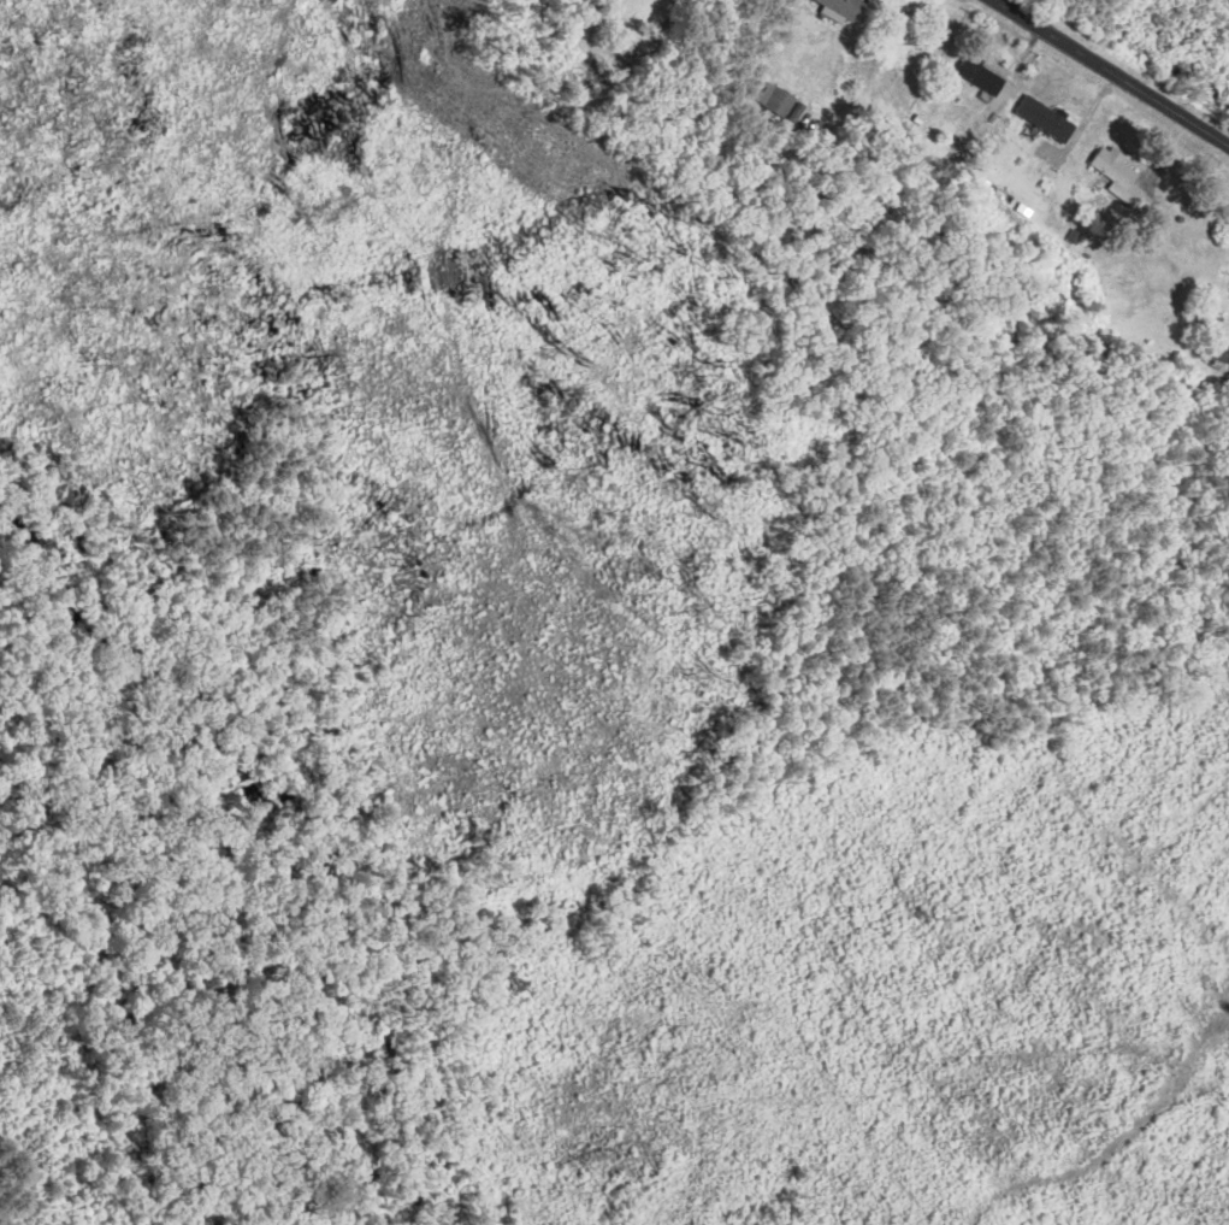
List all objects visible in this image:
building: (845, 8)
road: (1111, 72)
building: (982, 77)
building: (776, 101)
building: (1113, 167)
building: (1221, 351)

